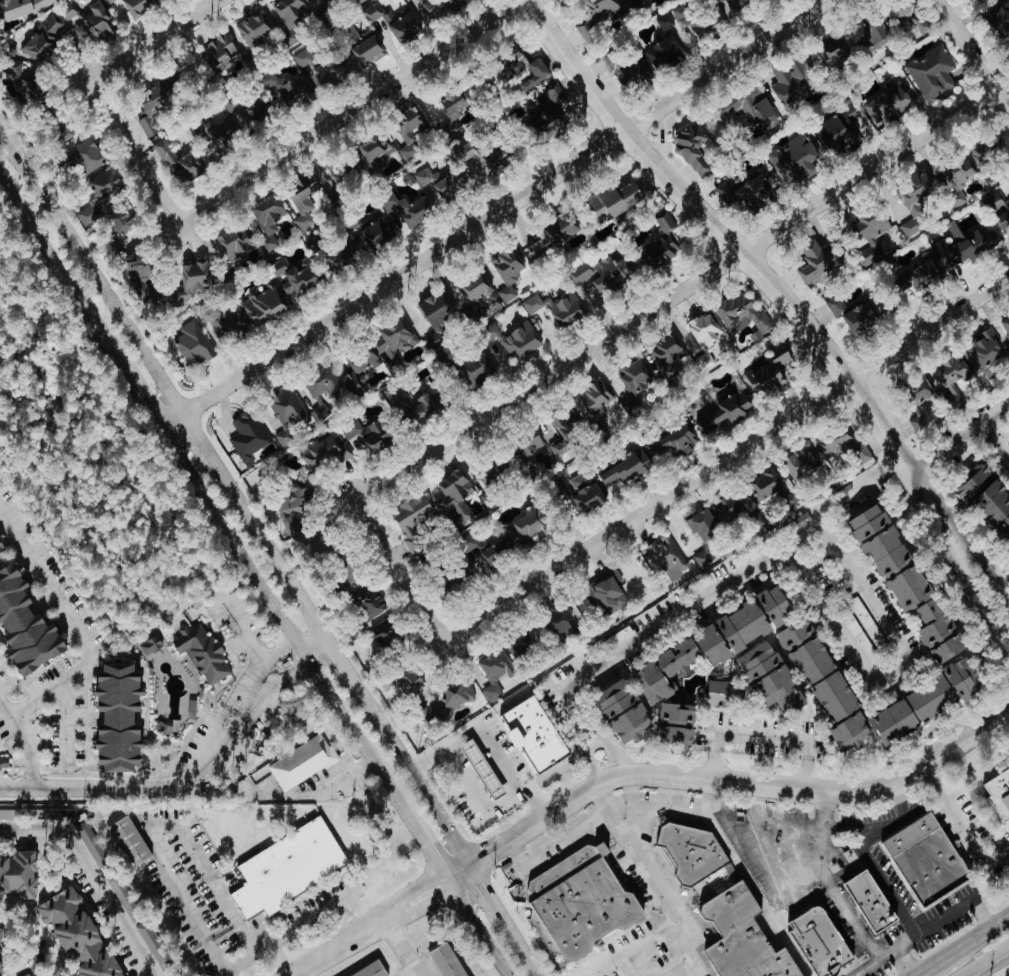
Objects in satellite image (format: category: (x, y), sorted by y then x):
building: (976, 0)
building: (110, 1)
building: (323, 1)
building: (463, 1)
building: (631, 2)
building: (741, 6)
building: (22, 7)
building: (138, 7)
building: (439, 7)
building: (292, 12)
building: (372, 12)
building: (681, 14)
building: (911, 16)
building: (388, 17)
building: (595, 17)
building: (1001, 18)
building: (89, 22)
building: (410, 22)
building: (710, 25)
building: (254, 29)
building: (871, 35)
road: (152, 40)
building: (43, 41)
building: (367, 48)
building: (220, 51)
building: (666, 54)
building: (833, 54)
road: (974, 55)
building: (305, 59)
building: (626, 70)
building: (525, 71)
building: (330, 72)
building: (932, 74)
building: (795, 82)
building: (34, 88)
building: (285, 91)
building: (550, 98)
building: (893, 103)
building: (158, 104)
building: (247, 109)
building: (455, 109)
building: (750, 109)
road: (350, 110)
building: (548, 128)
building: (201, 129)
building: (842, 129)
building: (410, 130)
building: (222, 137)
building: (694, 147)
building: (374, 149)
road: (133, 151)
building: (987, 151)
building: (90, 155)
building: (485, 157)
building: (796, 159)
building: (178, 162)
building: (961, 170)
building: (343, 178)
building: (443, 183)
building: (107, 185)
building: (746, 195)
building: (617, 201)
building: (915, 203)
building: (303, 205)
building: (409, 209)
building: (998, 210)
road: (496, 212)
building: (89, 215)
building: (270, 216)
building: (122, 222)
building: (376, 231)
building: (872, 233)
building: (555, 237)
road: (733, 243)
building: (236, 245)
building: (964, 246)
building: (662, 247)
building: (332, 255)
road: (59, 263)
building: (138, 265)
building: (821, 266)
road: (90, 270)
building: (508, 272)
building: (583, 273)
building: (613, 274)
building: (921, 276)
building: (196, 277)
building: (480, 291)
building: (151, 295)
road: (675, 296)
building: (837, 307)
building: (558, 309)
building: (743, 315)
building: (438, 318)
building: (861, 318)
building: (225, 322)
building: (1006, 325)
building: (705, 332)
building: (520, 341)
building: (393, 344)
building: (194, 346)
building: (985, 351)
building: (669, 356)
building: (362, 371)
building: (478, 372)
building: (770, 372)
building: (953, 379)
building: (636, 386)
road: (141, 390)
building: (323, 391)
building: (594, 400)
building: (928, 402)
building: (423, 407)
building: (727, 412)
building: (287, 413)
building: (917, 422)
road: (971, 432)
building: (566, 435)
building: (248, 437)
building: (365, 437)
building: (835, 441)
road: (995, 442)
building: (675, 443)
building: (528, 447)
road: (208, 454)
road: (726, 458)
building: (864, 459)
road: (891, 464)
road: (922, 464)
building: (802, 466)
building: (625, 470)
building: (492, 481)
building: (767, 484)
building: (587, 491)
building: (988, 493)
building: (455, 497)
building: (729, 508)
building: (294, 511)
building: (802, 519)
building: (413, 522)
building: (530, 525)
building: (704, 525)
road: (969, 545)
building: (2, 546)
building: (667, 557)
building: (702, 559)
road: (279, 567)
road: (398, 570)
road: (963, 579)
building: (909, 580)
road: (1003, 581)
building: (451, 586)
building: (606, 593)
road: (706, 596)
building: (370, 601)
road: (281, 613)
building: (560, 620)
building: (28, 622)
building: (390, 635)
building: (718, 641)
building: (151, 645)
road: (314, 645)
building: (522, 646)
building: (203, 653)
road: (83, 656)
road: (254, 658)
road: (341, 664)
building: (496, 672)
road: (897, 674)
building: (774, 677)
building: (411, 679)
building: (957, 683)
building: (458, 693)
building: (719, 695)
road: (6, 709)
building: (193, 709)
building: (626, 711)
building: (122, 717)
building: (679, 721)
road: (67, 727)
building: (536, 735)
road: (764, 737)
building: (0, 740)
road: (487, 742)
building: (302, 762)
building: (4, 763)
building: (484, 769)
road: (641, 778)
road: (414, 779)
road: (158, 787)
road: (318, 791)
building: (1000, 795)
road: (661, 806)
road: (768, 823)
road: (174, 825)
road: (963, 828)
building: (130, 841)
road: (428, 841)
building: (93, 846)
road: (559, 848)
road: (637, 855)
building: (928, 858)
building: (289, 868)
building: (19, 874)
road: (94, 874)
road: (750, 881)
road: (885, 881)
road: (827, 882)
building: (122, 894)
road: (323, 895)
road: (16, 901)
building: (873, 901)
building: (579, 902)
building: (722, 904)
road: (497, 908)
road: (32, 911)
road: (483, 928)
road: (926, 928)
building: (77, 935)
building: (2, 938)
building: (818, 942)
building: (154, 945)
road: (962, 946)
road: (636, 950)
road: (406, 952)
road: (649, 960)
road: (961, 960)
building: (444, 961)
road: (906, 961)
road: (531, 962)
road: (987, 962)
building: (0, 967)
building: (371, 970)
road: (421, 973)
building: (28, 975)

